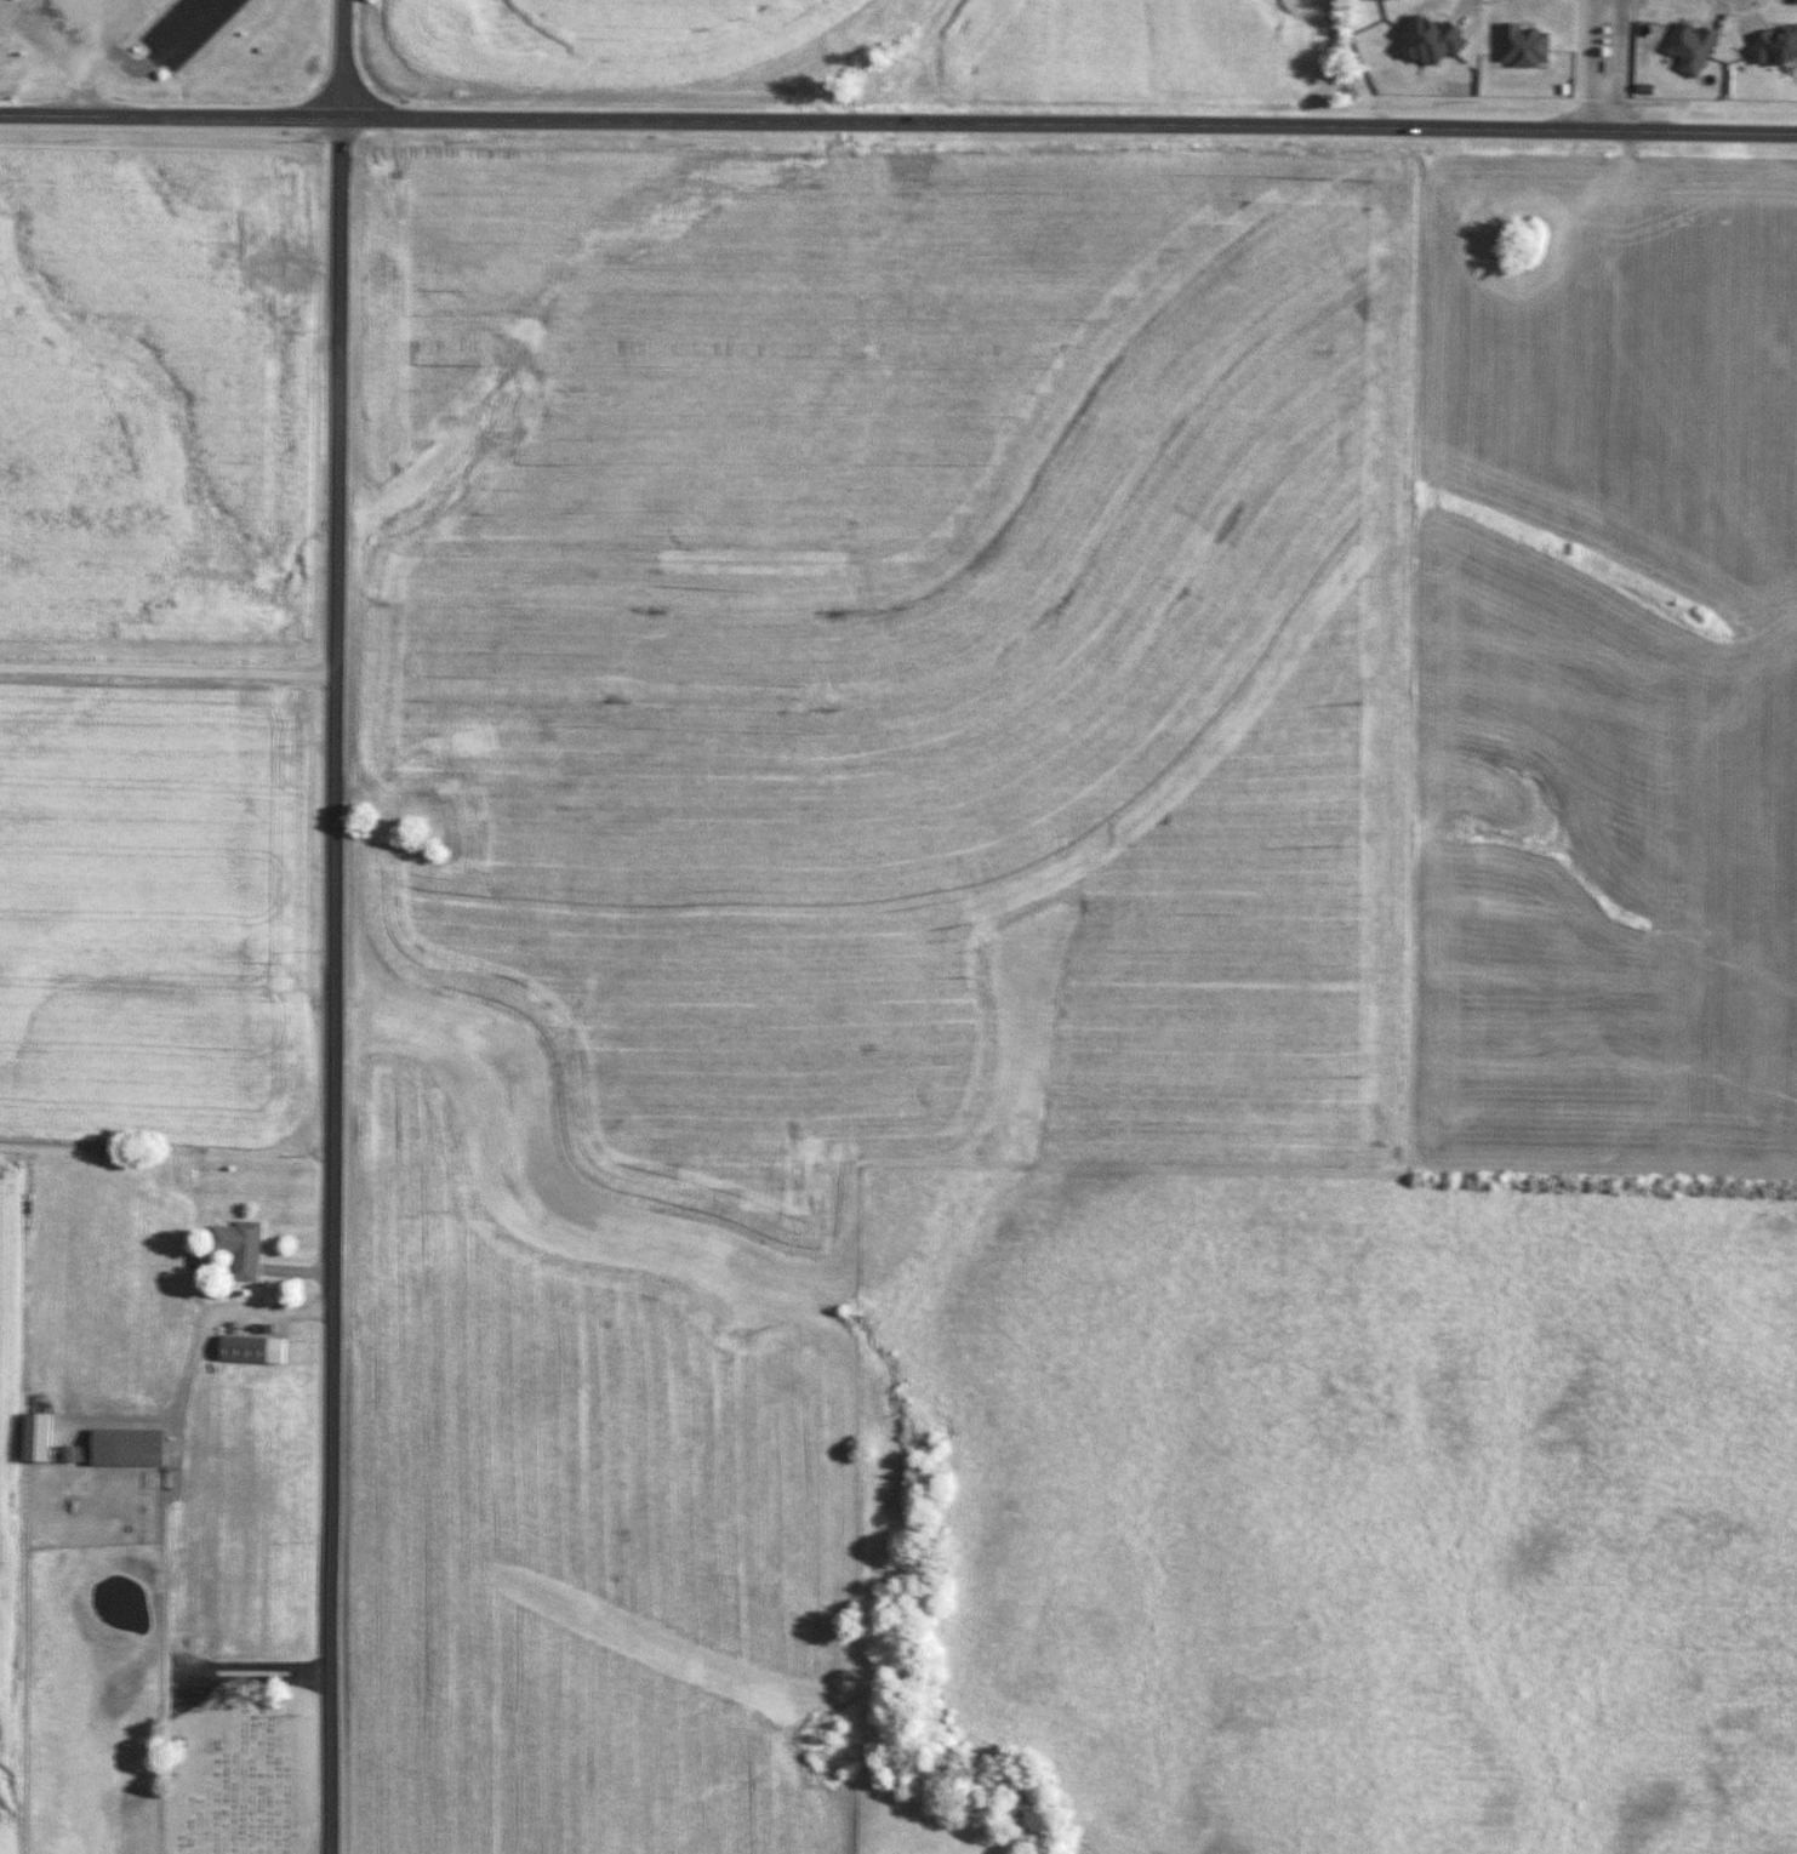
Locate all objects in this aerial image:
building: (1374, 0)
building: (1437, 41)
building: (1782, 45)
road: (341, 58)
road: (126, 63)
road: (1602, 65)
road: (897, 124)
road: (170, 671)
road: (341, 985)
building: (246, 1248)
building: (256, 1348)
building: (132, 1445)

